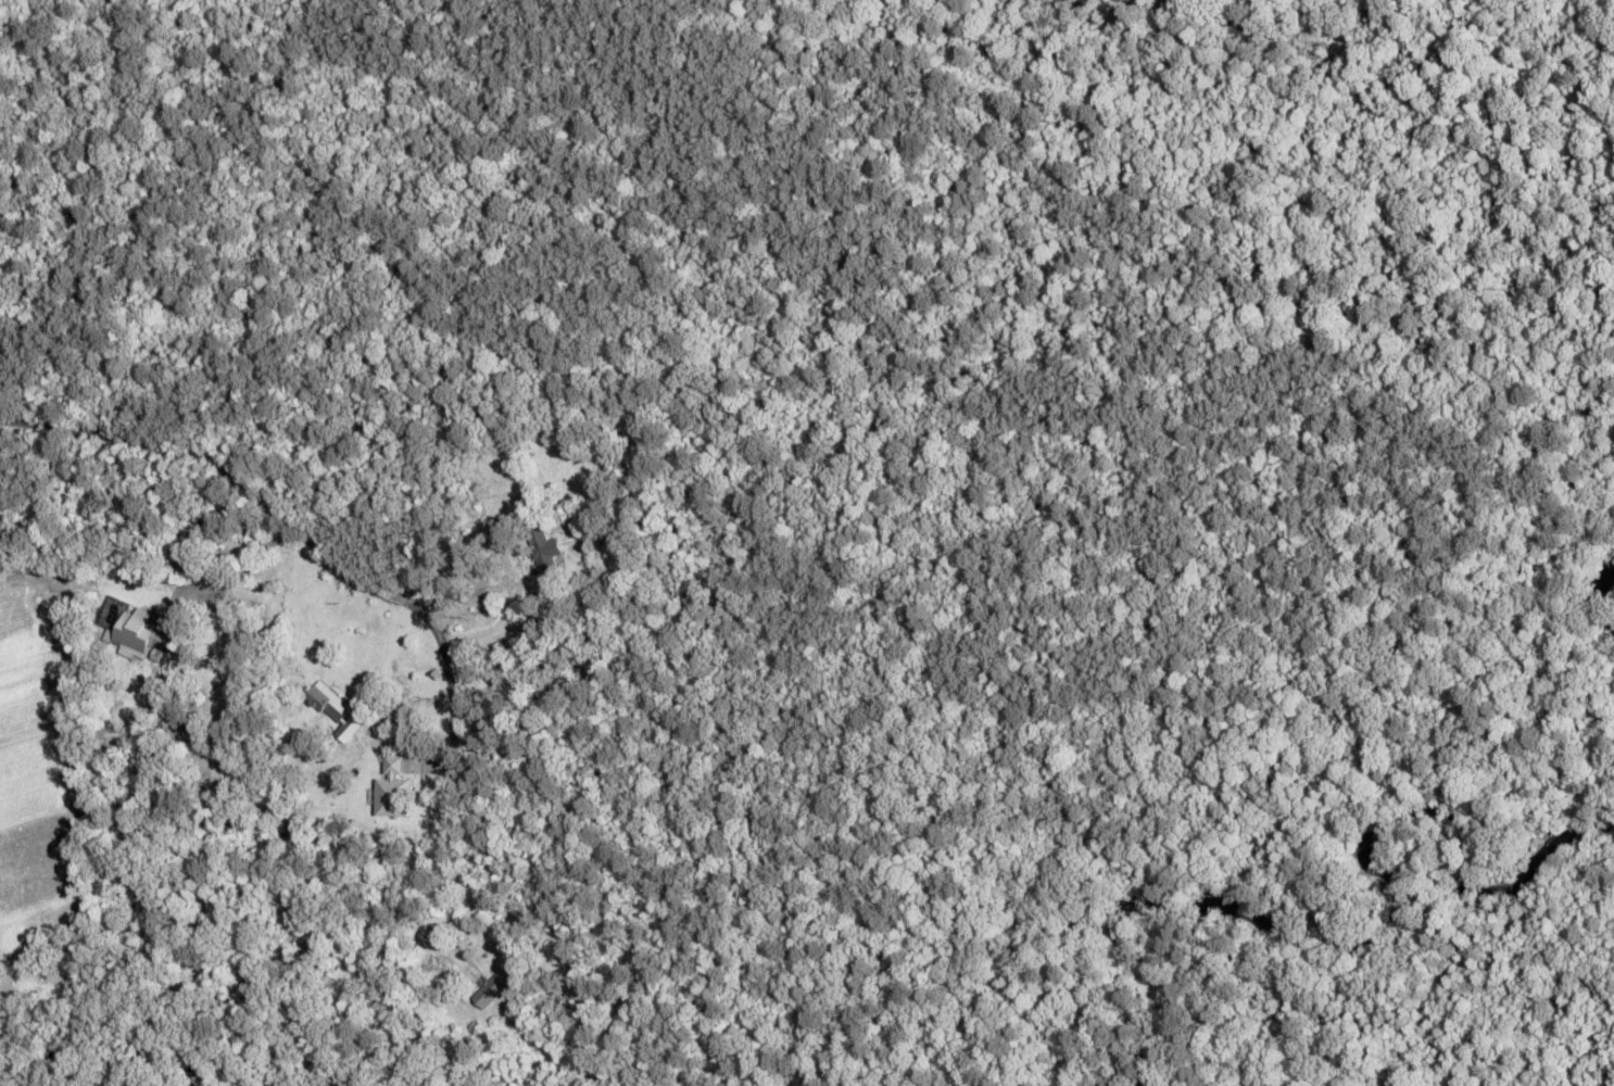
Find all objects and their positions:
road: (62, 76)
road: (229, 459)
building: (543, 547)
river: (1602, 598)
building: (141, 636)
building: (329, 702)
building: (349, 729)
crop: (33, 756)
building: (392, 788)
river: (1355, 936)
building: (493, 986)
building: (541, 998)
river: (105, 1045)

